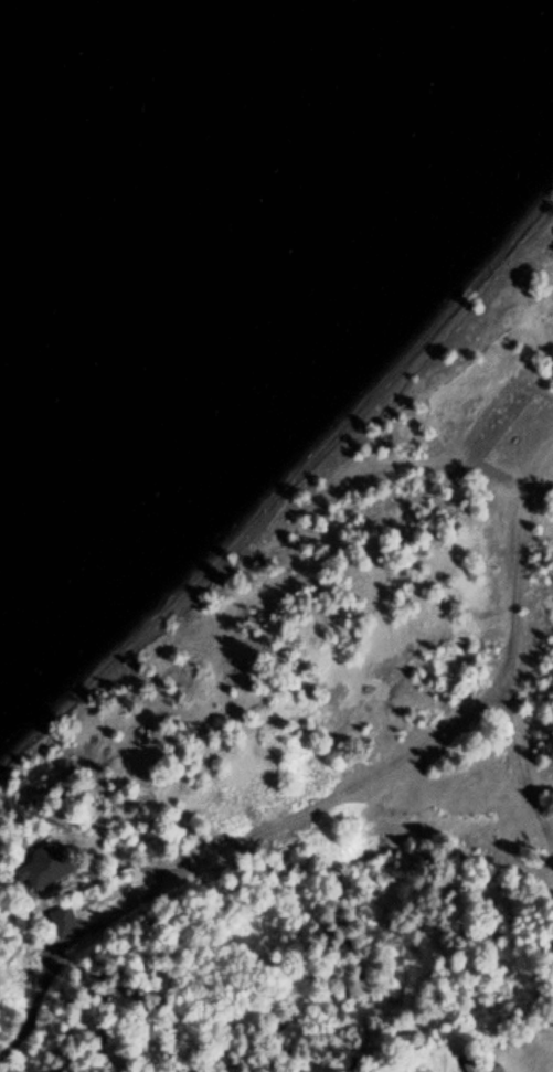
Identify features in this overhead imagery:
road: (521, 493)
road: (284, 820)

